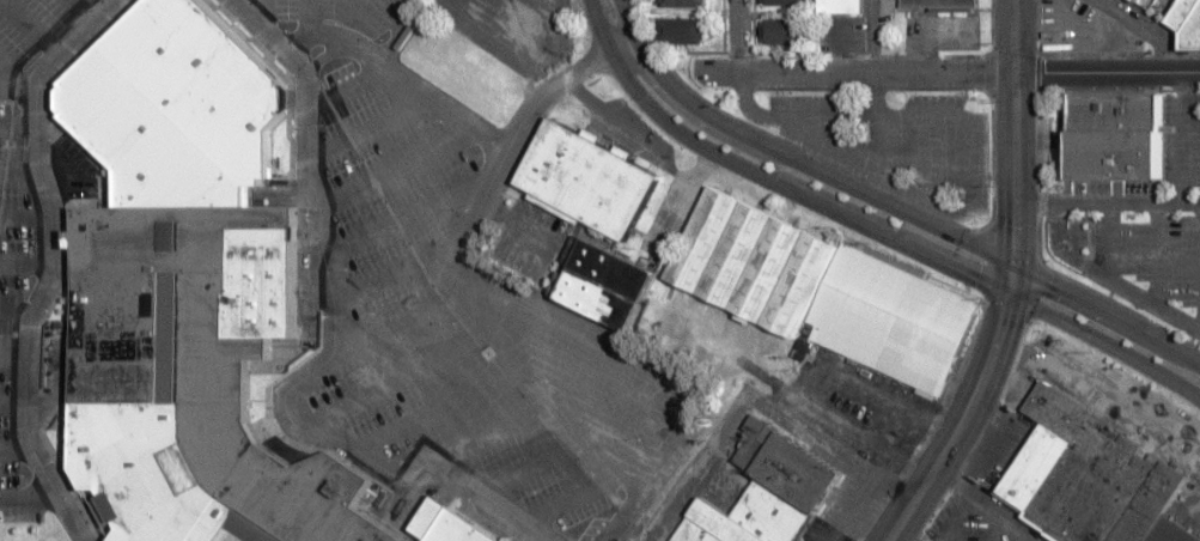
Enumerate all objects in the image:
building: (1135, 0)
building: (784, 1)
building: (682, 2)
building: (938, 5)
building: (840, 6)
road: (81, 8)
road: (261, 14)
building: (1187, 23)
road: (307, 24)
parking lot: (335, 25)
road: (29, 26)
building: (681, 29)
road: (400, 31)
building: (781, 31)
parking lot: (36, 36)
road: (737, 37)
road: (1025, 37)
road: (10, 71)
road: (946, 72)
road: (398, 79)
road: (18, 89)
road: (303, 110)
road: (19, 123)
road: (364, 127)
building: (1113, 134)
road: (391, 166)
road: (19, 168)
road: (1015, 168)
building: (589, 178)
road: (1107, 205)
road: (887, 206)
road: (25, 214)
road: (403, 215)
road: (865, 230)
parking lot: (529, 237)
building: (751, 261)
road: (26, 262)
traffic signals: (1011, 263)
road: (51, 265)
road: (397, 267)
building: (255, 278)
building: (607, 284)
building: (182, 293)
traffic signals: (1006, 297)
parking lot: (13, 304)
road: (523, 304)
road: (16, 311)
parking lot: (450, 316)
building: (888, 318)
road: (403, 320)
road: (13, 358)
road: (412, 366)
road: (469, 395)
road: (281, 402)
road: (12, 405)
road: (968, 409)
road: (532, 415)
road: (578, 443)
road: (17, 449)
building: (1088, 479)
road: (593, 487)
building: (765, 491)
road: (30, 500)
road: (488, 504)
road: (987, 505)
road: (952, 517)
building: (447, 524)
road: (995, 528)
road: (1034, 539)
building: (508, 540)

